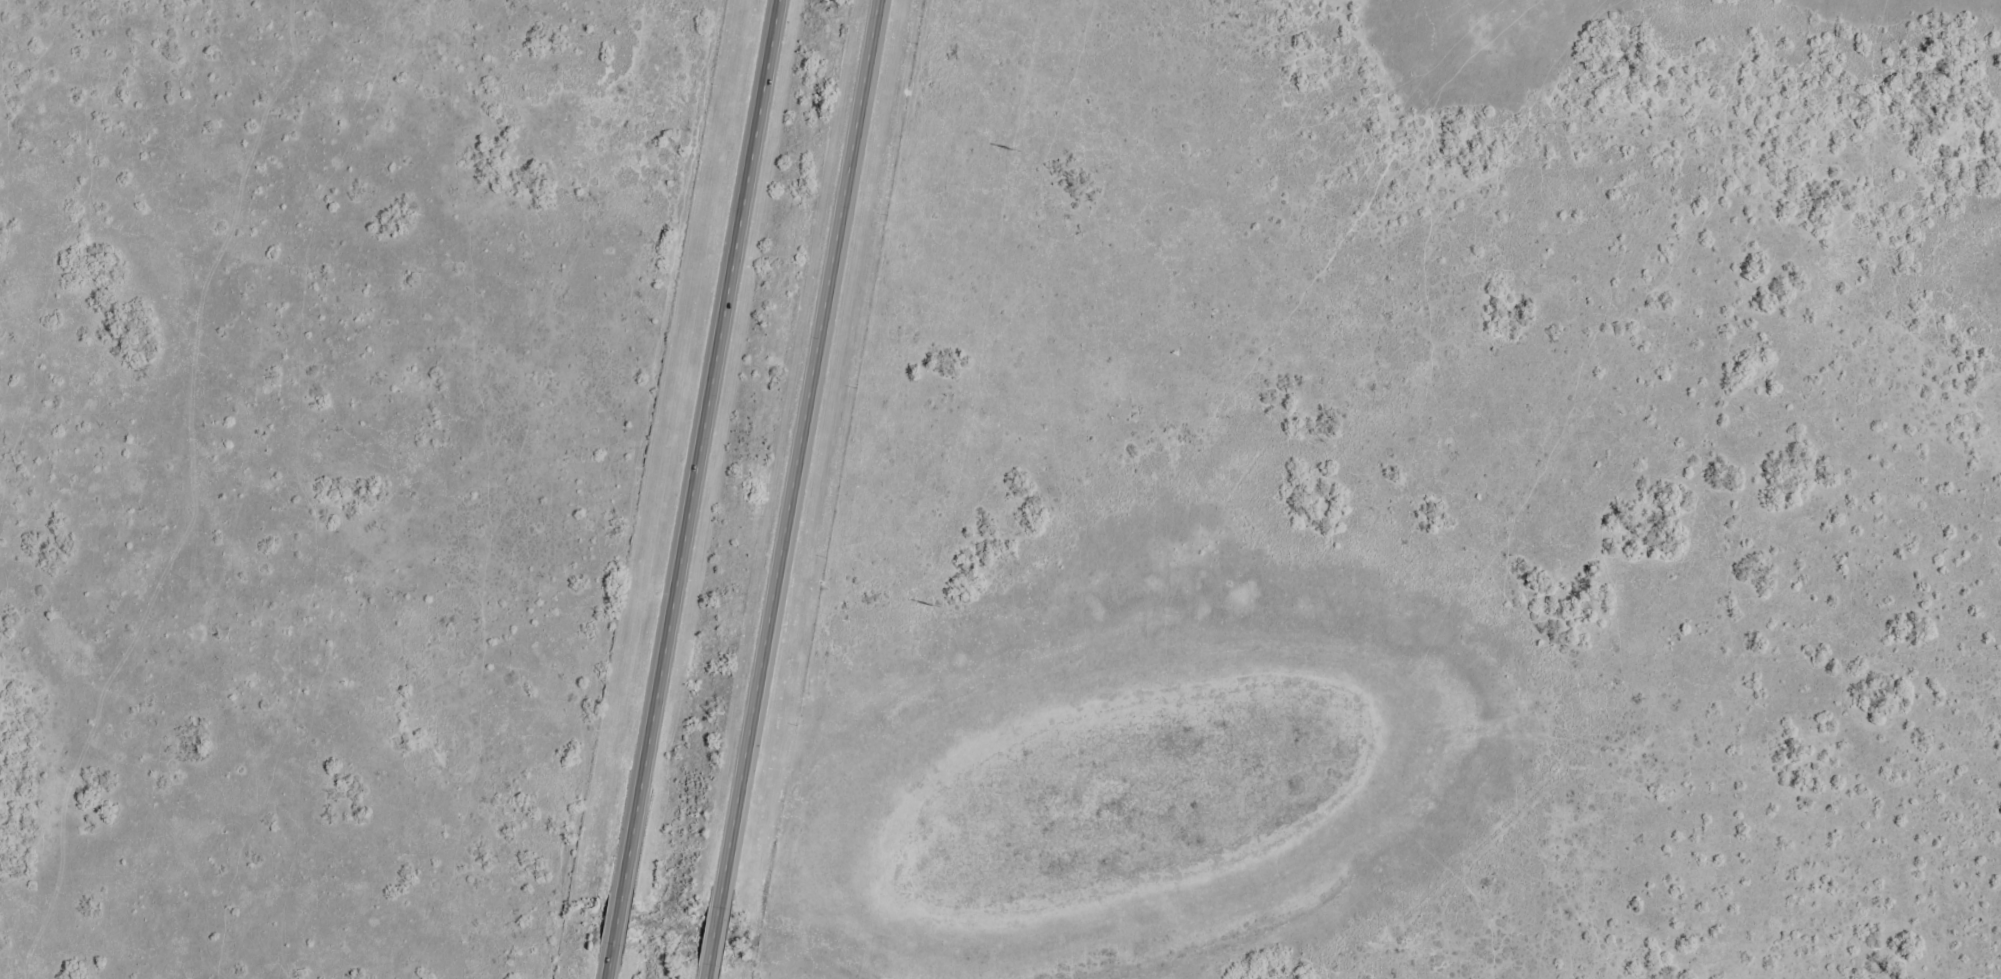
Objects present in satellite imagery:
power tower: (1015, 150)
road: (696, 489)
road: (794, 489)
power tower: (934, 605)

